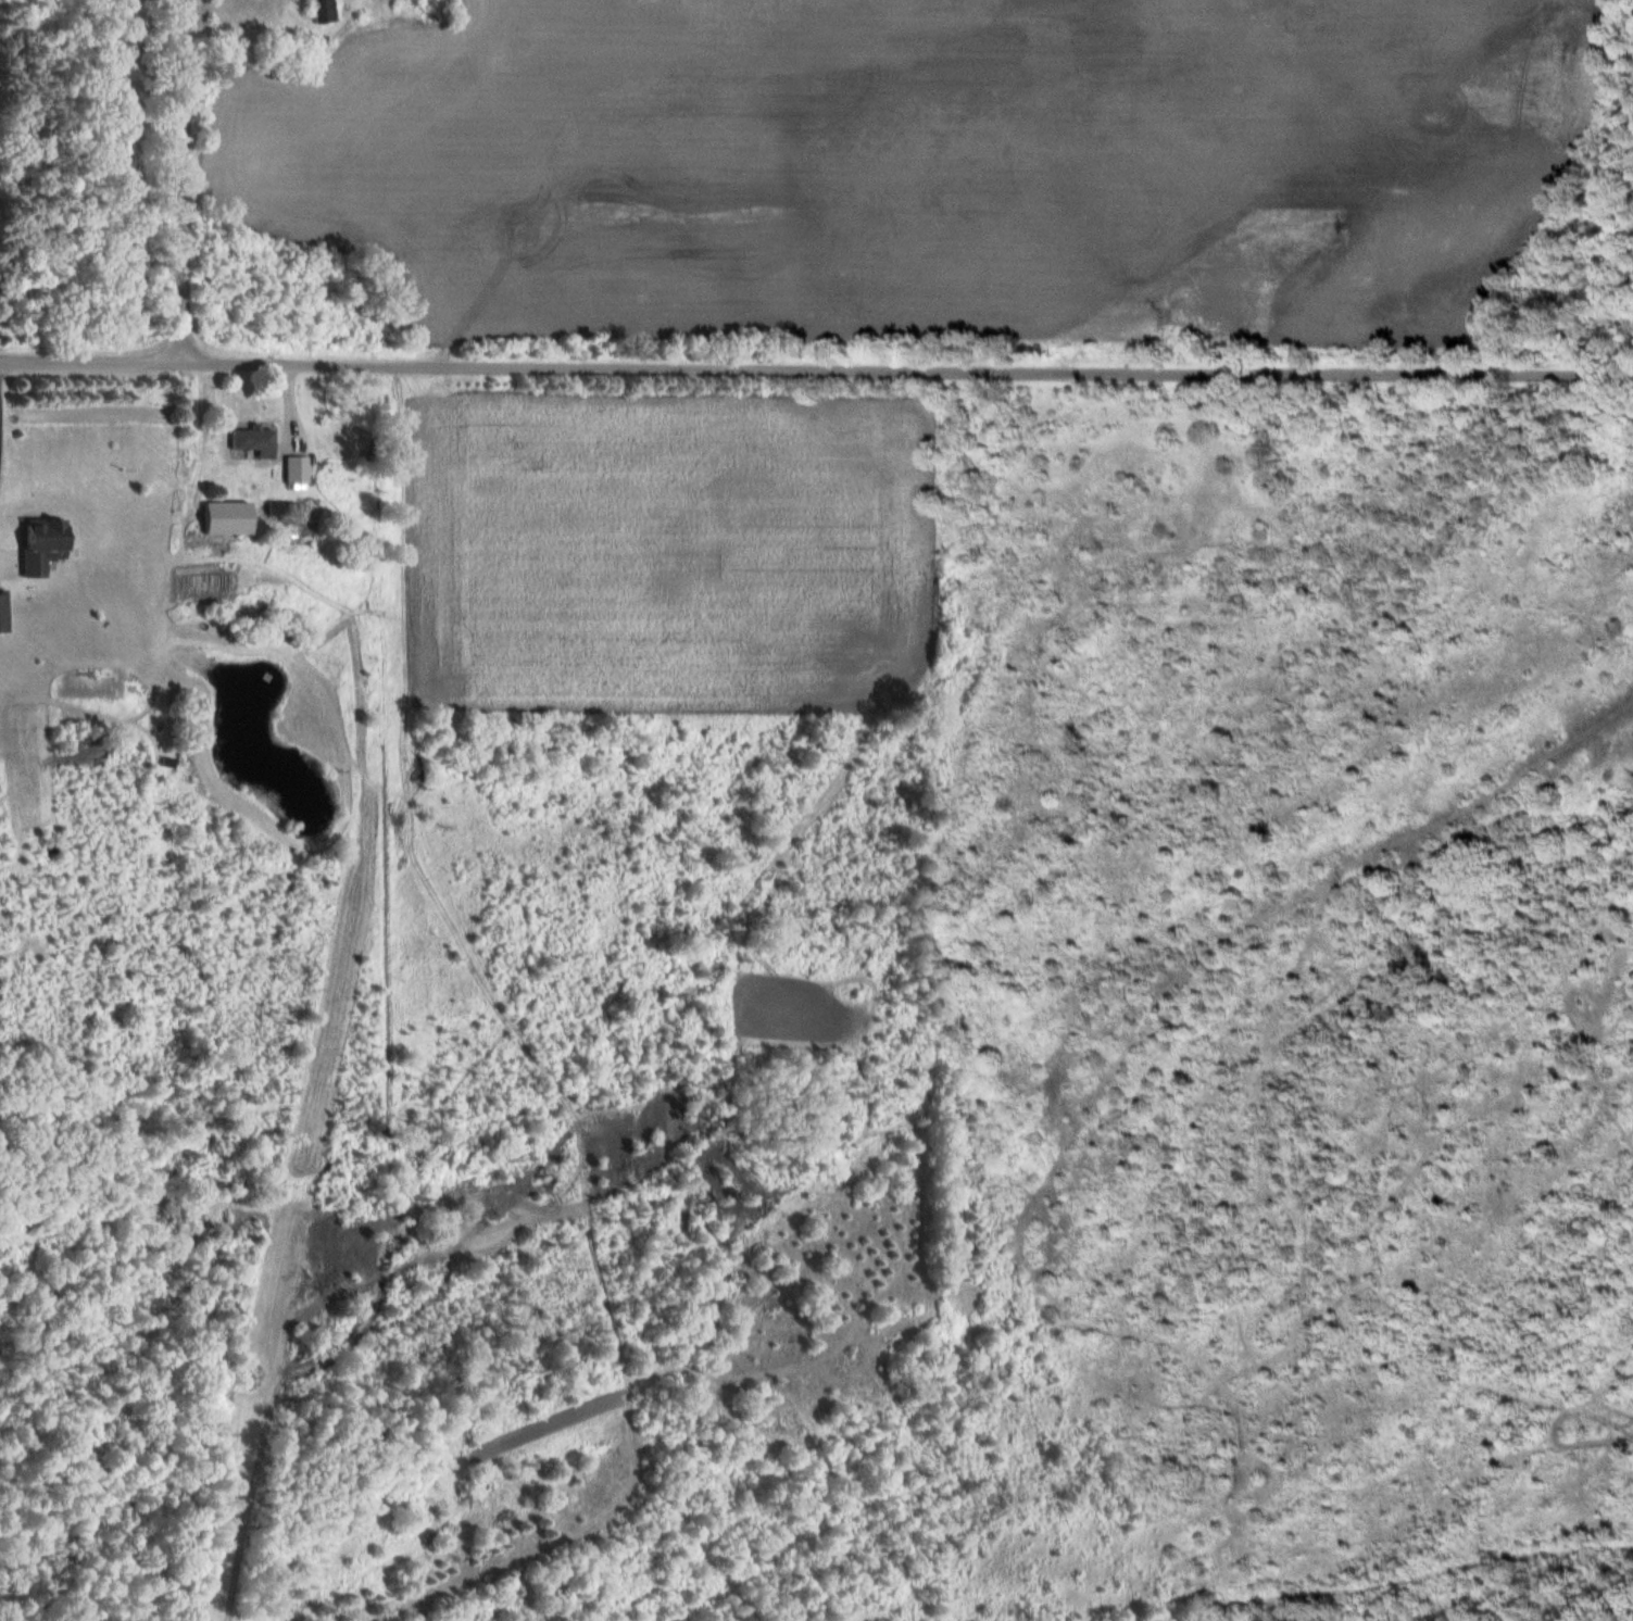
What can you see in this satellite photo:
building: (318, 11)
road: (185, 181)
road: (816, 368)
building: (254, 442)
building: (297, 472)
building: (228, 519)
building: (42, 545)
building: (3, 614)

